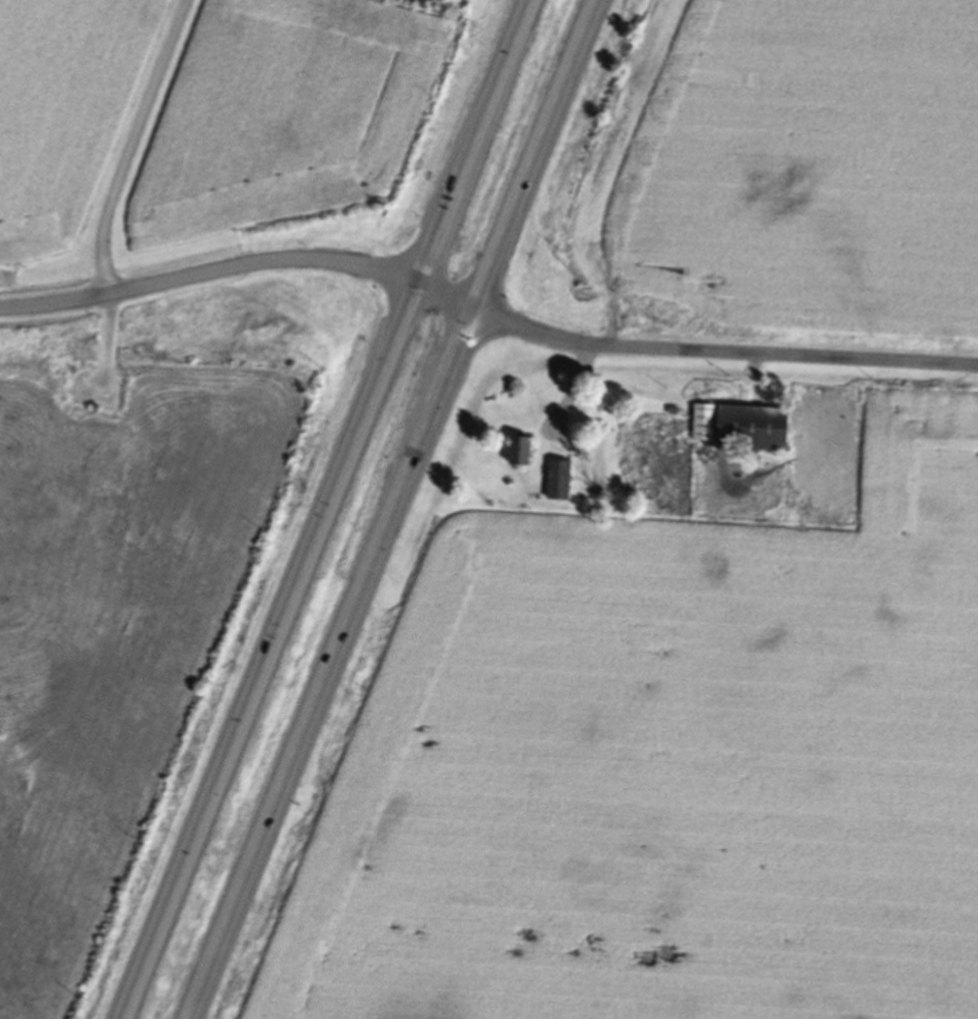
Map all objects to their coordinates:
road: (127, 145)
road: (238, 265)
road: (721, 352)
road: (569, 392)
building: (737, 430)
building: (516, 455)
building: (555, 483)
road: (315, 509)
road: (392, 509)

